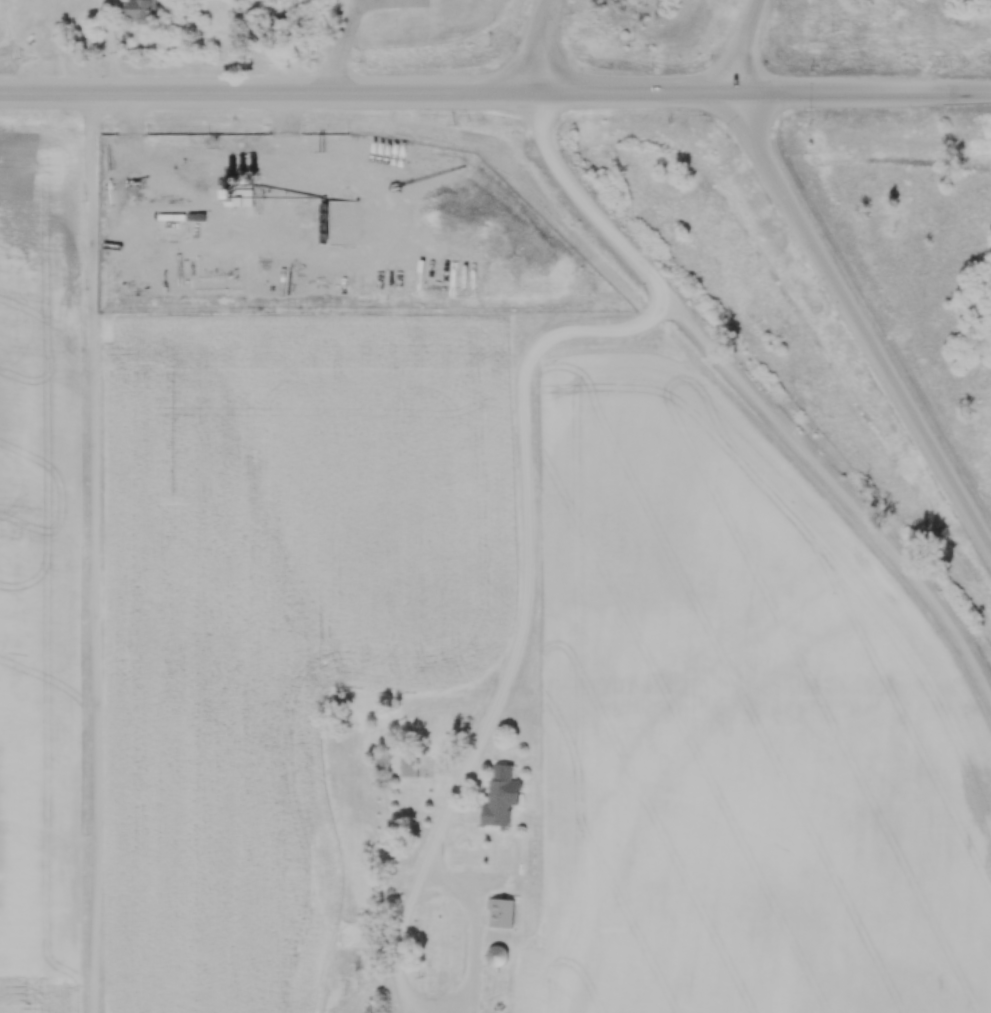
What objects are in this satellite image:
road: (346, 33)
road: (528, 45)
road: (741, 45)
road: (113, 46)
road: (495, 93)
road: (857, 327)
road: (516, 386)
road: (93, 553)
road: (435, 839)
road: (475, 927)
road: (399, 938)

